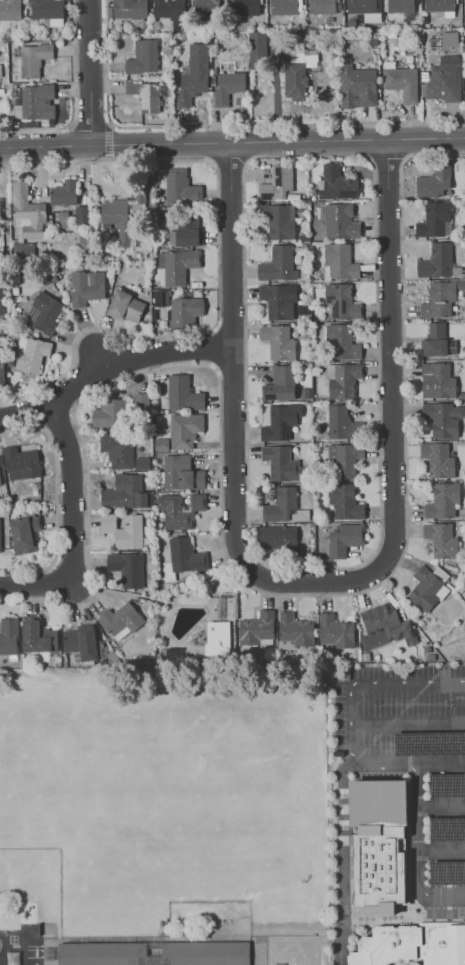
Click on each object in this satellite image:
building: (400, 5)
building: (284, 6)
building: (323, 6)
building: (363, 6)
building: (442, 6)
building: (205, 7)
building: (246, 7)
building: (129, 8)
building: (10, 9)
building: (47, 11)
building: (170, 11)
building: (449, 37)
building: (257, 49)
building: (143, 57)
building: (33, 58)
building: (298, 69)
road: (93, 72)
building: (193, 75)
building: (444, 79)
building: (401, 82)
building: (357, 86)
building: (228, 87)
building: (145, 94)
road: (73, 98)
building: (35, 101)
road: (232, 145)
building: (434, 181)
building: (277, 183)
building: (336, 183)
building: (180, 187)
building: (64, 192)
road: (6, 211)
building: (26, 211)
building: (81, 213)
building: (122, 214)
building: (279, 220)
building: (434, 220)
building: (340, 221)
building: (0, 224)
building: (184, 232)
road: (239, 247)
building: (22, 250)
building: (339, 261)
building: (436, 261)
building: (277, 264)
building: (179, 265)
building: (86, 287)
building: (160, 297)
building: (440, 298)
building: (278, 300)
building: (341, 301)
building: (1, 302)
building: (126, 306)
building: (185, 310)
building: (43, 312)
building: (434, 339)
building: (278, 341)
building: (341, 342)
building: (31, 353)
road: (397, 356)
road: (140, 357)
building: (2, 372)
building: (342, 380)
building: (436, 380)
building: (280, 383)
building: (183, 393)
building: (141, 399)
road: (29, 410)
building: (109, 413)
building: (443, 418)
building: (280, 422)
building: (342, 423)
building: (184, 430)
building: (160, 444)
building: (118, 449)
building: (344, 459)
building: (438, 459)
building: (281, 462)
building: (20, 463)
building: (141, 463)
building: (181, 473)
building: (0, 482)
road: (76, 491)
building: (124, 492)
building: (442, 499)
building: (345, 501)
building: (284, 506)
building: (180, 509)
building: (123, 530)
building: (0, 532)
road: (239, 532)
building: (24, 533)
building: (278, 536)
building: (343, 538)
building: (441, 539)
building: (185, 555)
building: (126, 568)
road: (36, 581)
building: (427, 587)
building: (120, 620)
building: (384, 626)
building: (256, 628)
building: (296, 629)
building: (335, 630)
building: (8, 635)
building: (37, 635)
building: (217, 637)
building: (80, 642)
road: (369, 681)
building: (412, 703)
road: (409, 723)
building: (429, 742)
road: (409, 761)
building: (447, 785)
road: (442, 806)
building: (447, 828)
building: (378, 845)
road: (420, 849)
road: (442, 850)
road: (342, 859)
building: (447, 873)
road: (445, 918)
road: (272, 938)
building: (412, 944)
building: (154, 953)
road: (292, 959)
road: (298, 962)

